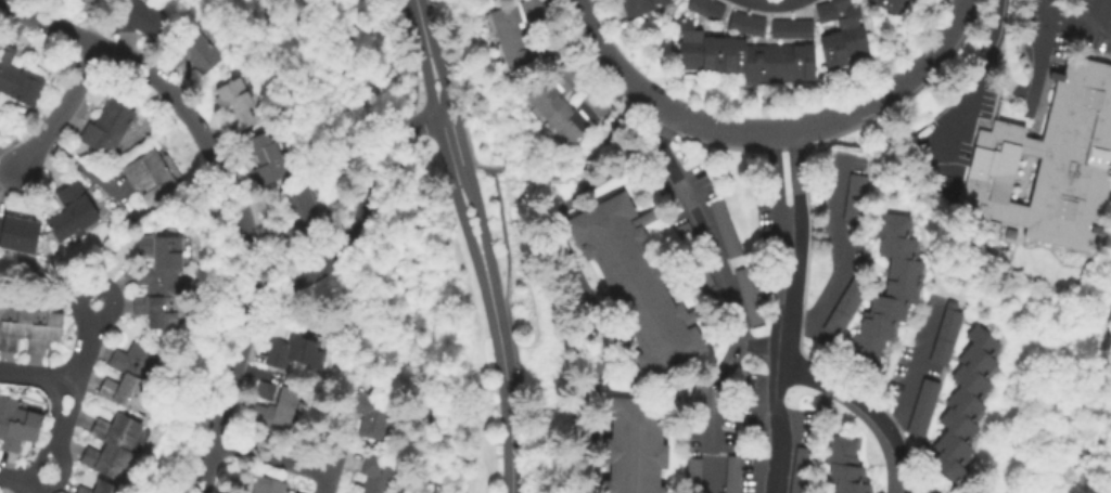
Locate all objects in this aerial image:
building: (86, 3)
building: (694, 4)
road: (774, 4)
building: (886, 4)
building: (637, 5)
building: (711, 10)
building: (822, 11)
building: (514, 18)
building: (140, 21)
building: (736, 21)
road: (419, 22)
building: (753, 24)
road: (1080, 24)
building: (779, 27)
building: (800, 27)
building: (847, 27)
building: (688, 46)
building: (831, 50)
road: (1039, 51)
building: (193, 52)
building: (526, 52)
building: (710, 53)
building: (731, 54)
building: (800, 61)
building: (753, 63)
building: (777, 63)
road: (919, 65)
road: (612, 68)
building: (16, 78)
road: (970, 90)
building: (552, 92)
building: (234, 102)
road: (448, 108)
road: (62, 113)
building: (576, 118)
building: (106, 127)
road: (766, 132)
building: (1050, 159)
building: (266, 160)
road: (445, 163)
road: (82, 171)
road: (569, 171)
building: (151, 177)
road: (231, 193)
building: (854, 198)
building: (72, 210)
building: (301, 211)
road: (363, 211)
road: (478, 226)
building: (724, 228)
building: (685, 232)
building: (18, 234)
road: (840, 256)
building: (703, 274)
building: (161, 281)
building: (634, 284)
building: (703, 284)
road: (104, 288)
building: (887, 289)
building: (748, 298)
road: (727, 299)
building: (843, 308)
road: (782, 313)
building: (28, 328)
building: (945, 335)
building: (305, 350)
building: (277, 356)
road: (914, 368)
road: (35, 373)
building: (132, 375)
road: (503, 385)
building: (265, 391)
building: (698, 392)
road: (844, 395)
building: (744, 399)
road: (74, 403)
building: (823, 403)
building: (963, 403)
building: (922, 407)
road: (53, 408)
building: (274, 412)
building: (368, 412)
building: (16, 425)
building: (112, 445)
building: (634, 445)
road: (281, 459)
building: (842, 466)
building: (689, 469)
building: (800, 470)
road: (60, 473)
building: (378, 473)
building: (738, 475)
road: (20, 484)
building: (268, 485)
building: (100, 489)

